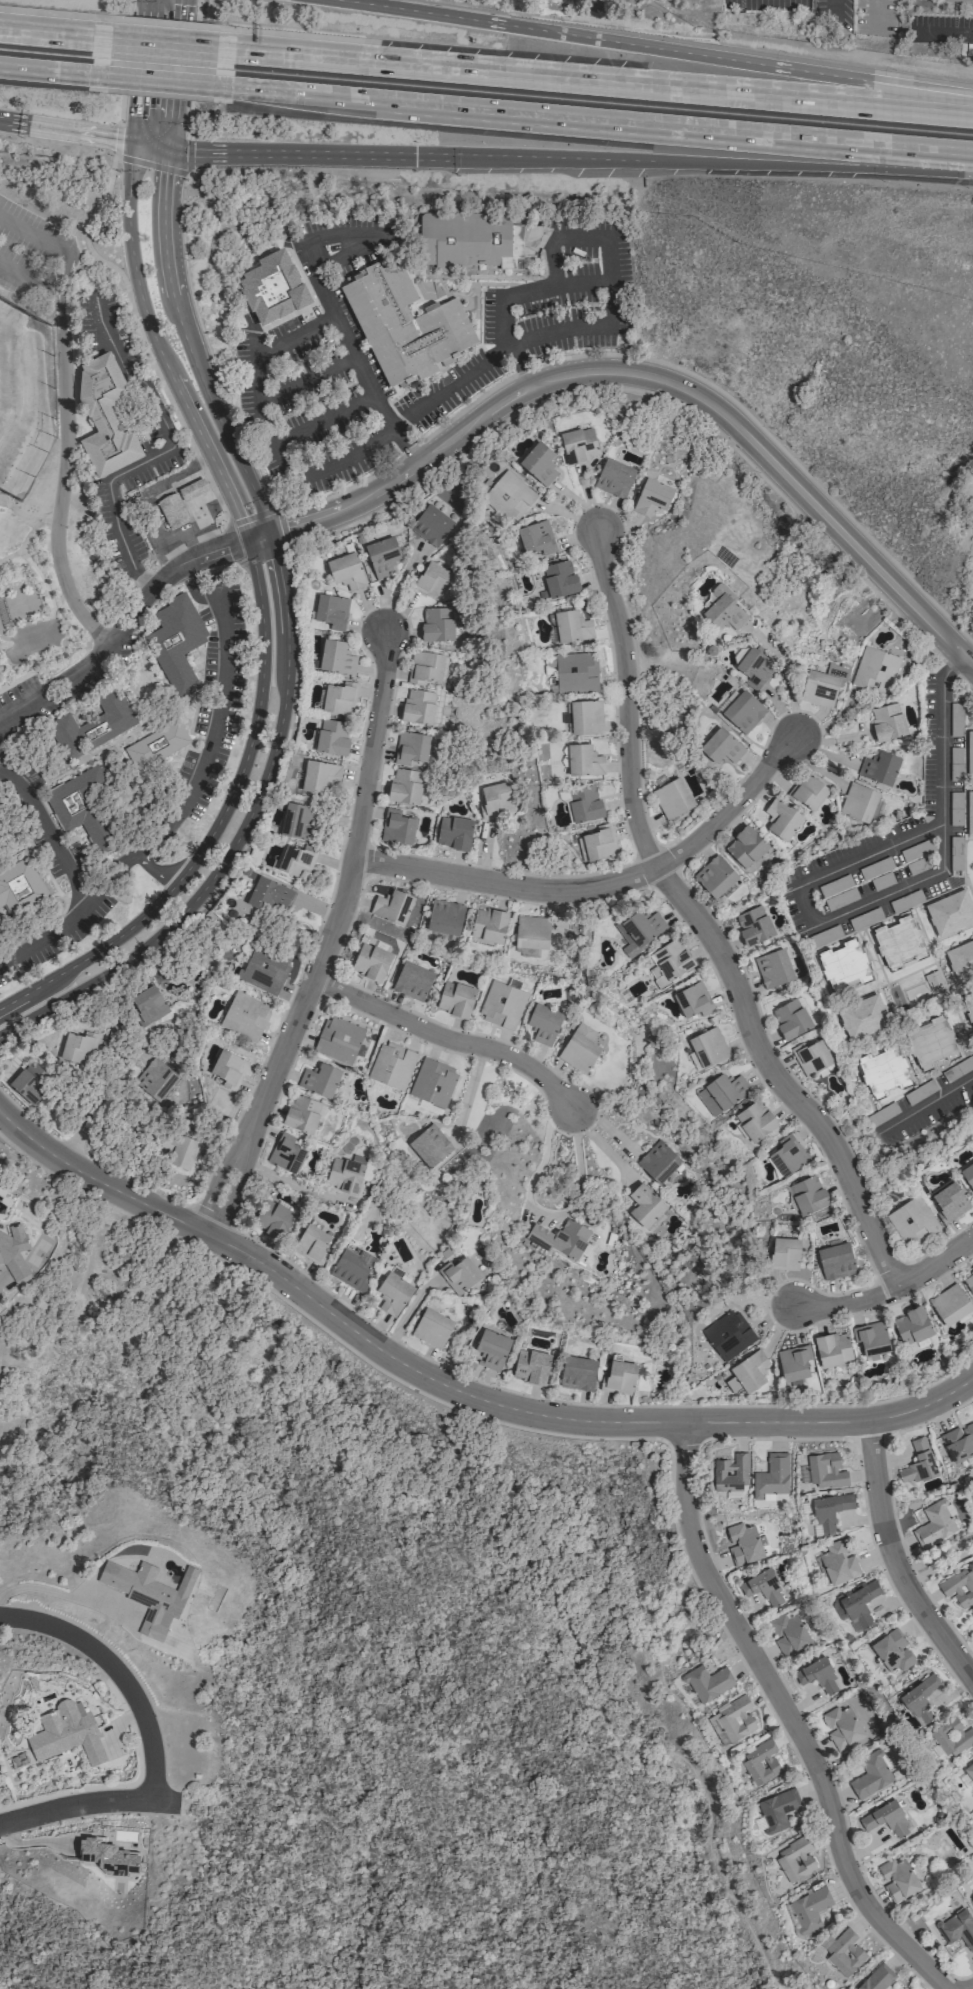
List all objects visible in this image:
building: (959, 0)
road: (128, 7)
road: (197, 10)
road: (877, 14)
road: (942, 33)
road: (54, 35)
road: (162, 45)
road: (657, 47)
road: (140, 70)
road: (53, 72)
road: (172, 74)
road: (159, 81)
road: (594, 81)
road: (298, 92)
road: (119, 109)
road: (187, 119)
road: (678, 128)
road: (66, 130)
road: (116, 139)
traffic signals: (133, 141)
road: (149, 145)
traffic signals: (166, 149)
road: (186, 155)
traffic signals: (415, 156)
road: (569, 158)
road: (150, 164)
road: (85, 221)
road: (537, 236)
building: (469, 238)
road: (53, 245)
road: (30, 281)
road: (581, 283)
building: (271, 284)
road: (330, 307)
parking lot: (539, 317)
building: (402, 323)
road: (184, 337)
road: (153, 339)
road: (511, 346)
parking lot: (314, 366)
road: (644, 375)
road: (307, 378)
road: (489, 389)
road: (169, 403)
building: (106, 416)
road: (324, 418)
road: (267, 430)
building: (579, 443)
road: (163, 451)
building: (540, 463)
building: (616, 478)
road: (63, 479)
park: (44, 489)
building: (192, 489)
road: (146, 497)
building: (508, 497)
building: (652, 498)
road: (387, 504)
building: (174, 511)
building: (433, 526)
road: (280, 527)
road: (244, 529)
building: (537, 541)
road: (230, 542)
building: (383, 556)
building: (348, 571)
building: (560, 578)
building: (434, 580)
road: (188, 581)
building: (332, 611)
building: (722, 611)
road: (122, 624)
building: (438, 625)
building: (573, 627)
building: (176, 642)
building: (337, 657)
building: (426, 667)
building: (754, 667)
building: (875, 670)
building: (576, 672)
road: (786, 673)
building: (823, 685)
parking lot: (58, 690)
building: (339, 699)
building: (419, 706)
building: (741, 710)
building: (584, 717)
building: (956, 719)
building: (887, 722)
building: (93, 724)
building: (332, 736)
building: (156, 745)
building: (414, 747)
building: (721, 747)
building: (969, 753)
building: (584, 760)
road: (202, 765)
building: (879, 768)
building: (317, 777)
building: (405, 787)
building: (809, 793)
building: (672, 798)
building: (497, 800)
building: (858, 802)
building: (584, 803)
building: (81, 808)
building: (969, 814)
building: (782, 819)
road: (216, 820)
building: (298, 820)
road: (241, 827)
building: (402, 827)
building: (455, 833)
road: (46, 834)
building: (599, 843)
building: (746, 846)
building: (294, 860)
road: (154, 866)
building: (715, 876)
building: (20, 887)
road: (601, 888)
building: (837, 892)
road: (891, 892)
building: (267, 894)
building: (394, 907)
building: (950, 912)
building: (447, 917)
road: (699, 920)
building: (753, 925)
building: (488, 926)
building: (642, 931)
building: (533, 932)
road: (45, 938)
road: (327, 939)
building: (898, 942)
building: (672, 959)
building: (961, 960)
building: (369, 963)
building: (843, 965)
building: (260, 968)
building: (773, 968)
building: (413, 981)
building: (456, 999)
building: (694, 1000)
building: (504, 1005)
building: (969, 1005)
building: (146, 1006)
building: (863, 1016)
building: (245, 1017)
building: (791, 1019)
building: (543, 1024)
road: (447, 1039)
building: (342, 1040)
building: (930, 1042)
building: (79, 1045)
building: (710, 1048)
building: (359, 1052)
building: (580, 1052)
building: (812, 1057)
building: (393, 1066)
building: (230, 1068)
building: (883, 1070)
building: (158, 1079)
building: (320, 1080)
building: (433, 1083)
building: (28, 1086)
road: (468, 1088)
building: (722, 1093)
building: (428, 1107)
road: (92, 1108)
road: (925, 1108)
building: (303, 1113)
building: (755, 1120)
building: (432, 1147)
building: (183, 1152)
building: (287, 1152)
road: (84, 1156)
building: (789, 1157)
building: (660, 1162)
building: (968, 1174)
building: (345, 1176)
road: (284, 1180)
building: (810, 1194)
building: (950, 1202)
building: (646, 1205)
road: (543, 1211)
building: (273, 1219)
building: (913, 1221)
building: (562, 1238)
building: (311, 1242)
building: (13, 1251)
building: (785, 1253)
building: (836, 1259)
building: (352, 1268)
building: (459, 1275)
building: (969, 1280)
road: (889, 1286)
building: (394, 1293)
building: (950, 1303)
building: (914, 1325)
building: (432, 1327)
building: (729, 1335)
building: (872, 1337)
building: (492, 1347)
building: (833, 1349)
building: (796, 1362)
building: (531, 1365)
building: (750, 1369)
building: (578, 1374)
building: (620, 1378)
road: (454, 1388)
road: (425, 1393)
road: (785, 1404)
road: (928, 1419)
building: (959, 1442)
building: (918, 1463)
building: (825, 1470)
building: (731, 1475)
building: (771, 1478)
building: (830, 1510)
road: (510, 1522)
building: (933, 1524)
building: (743, 1543)
road: (936, 1555)
road: (892, 1559)
building: (838, 1561)
building: (959, 1586)
building: (763, 1587)
building: (141, 1593)
road: (59, 1594)
building: (859, 1604)
building: (788, 1635)
building: (893, 1651)
road: (115, 1668)
building: (817, 1675)
building: (707, 1682)
building: (922, 1698)
road: (788, 1717)
building: (732, 1719)
building: (841, 1726)
building: (66, 1733)
building: (951, 1736)
building: (760, 1762)
building: (969, 1770)
building: (870, 1775)
road: (74, 1801)
building: (775, 1811)
building: (886, 1819)
road: (821, 1834)
building: (107, 1856)
building: (795, 1858)
building: (898, 1878)
building: (809, 1907)
building: (955, 1923)
building: (843, 1951)
building: (877, 1977)

